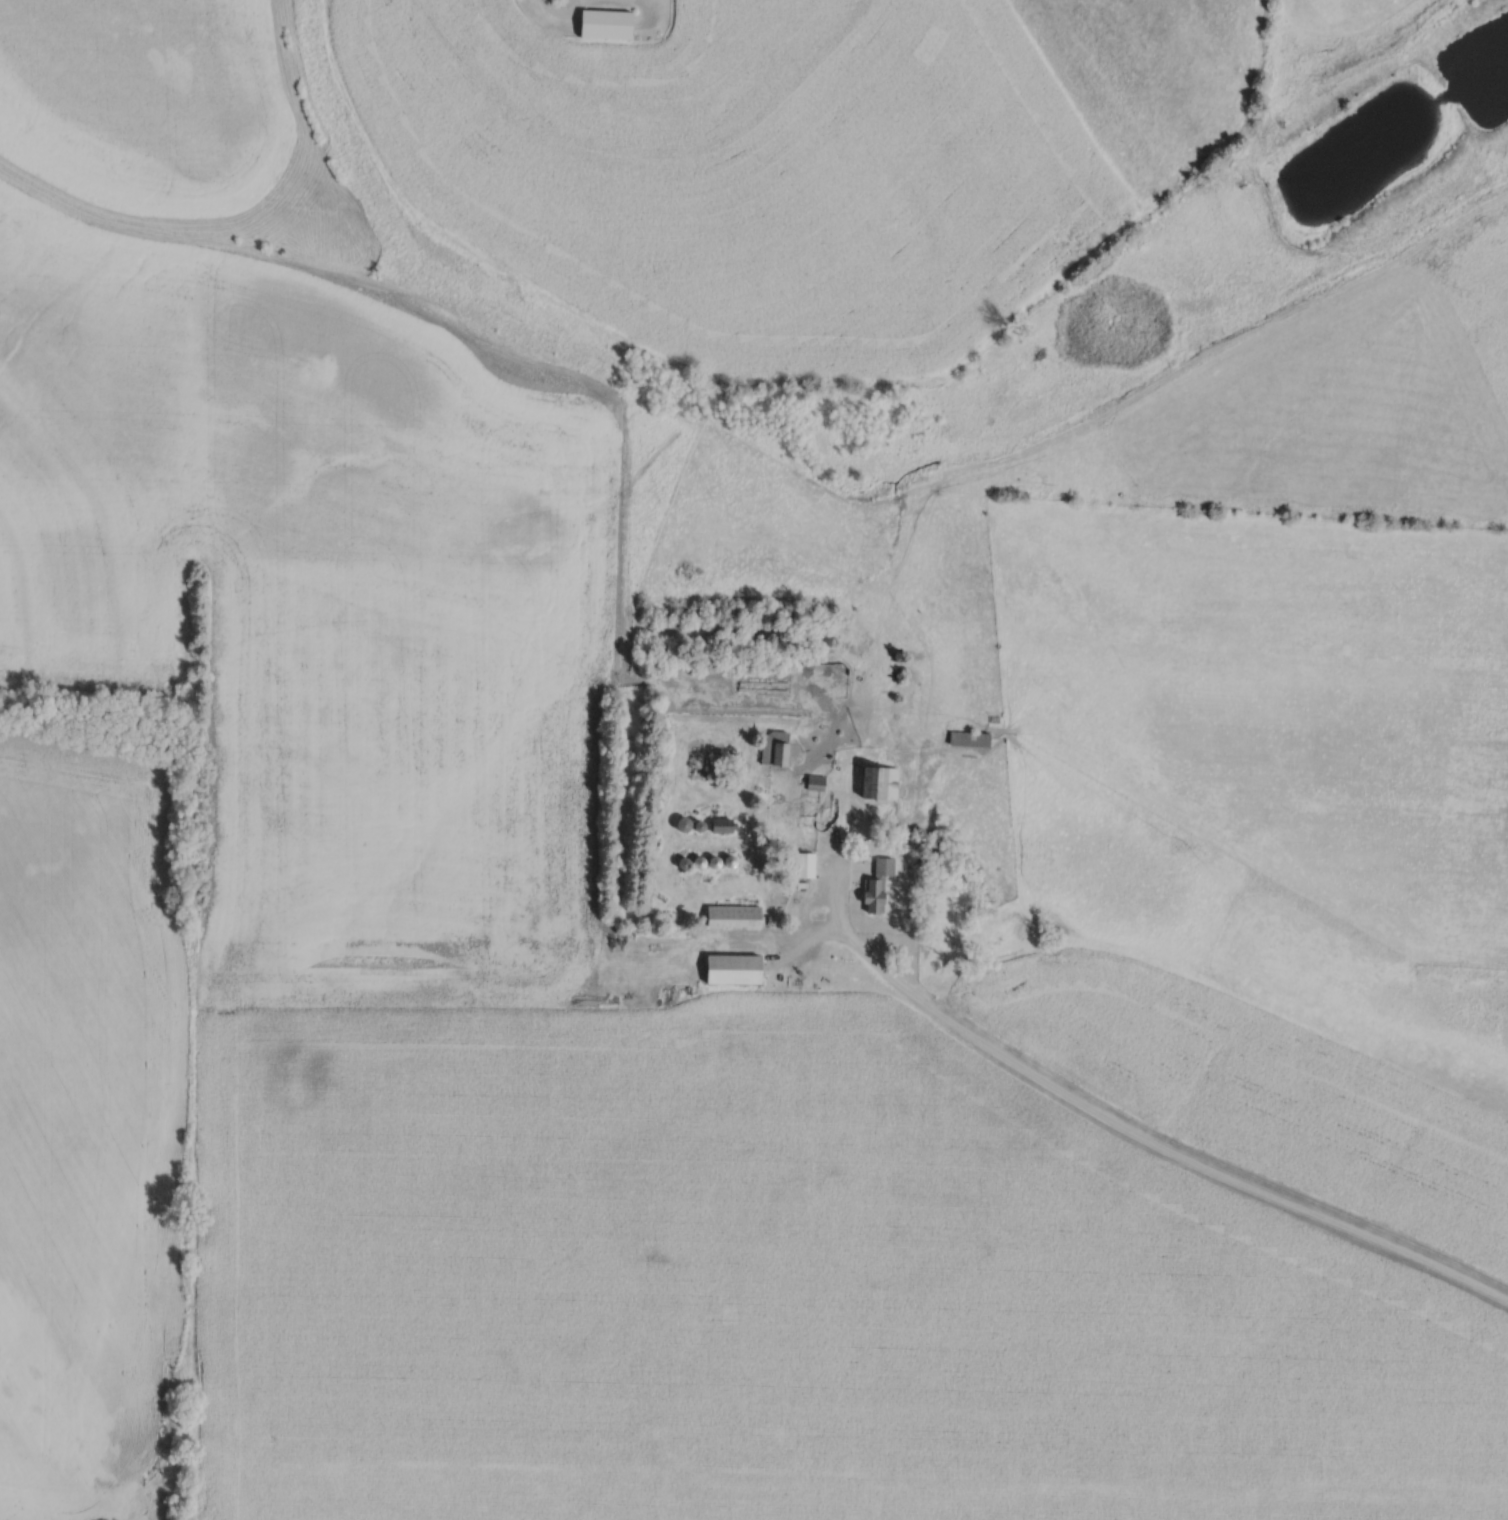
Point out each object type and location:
road: (560, 14)
building: (610, 23)
building: (973, 736)
building: (778, 745)
building: (818, 780)
building: (883, 780)
building: (688, 822)
building: (725, 823)
building: (807, 862)
building: (882, 882)
building: (738, 913)
building: (738, 967)
road: (1134, 1132)

